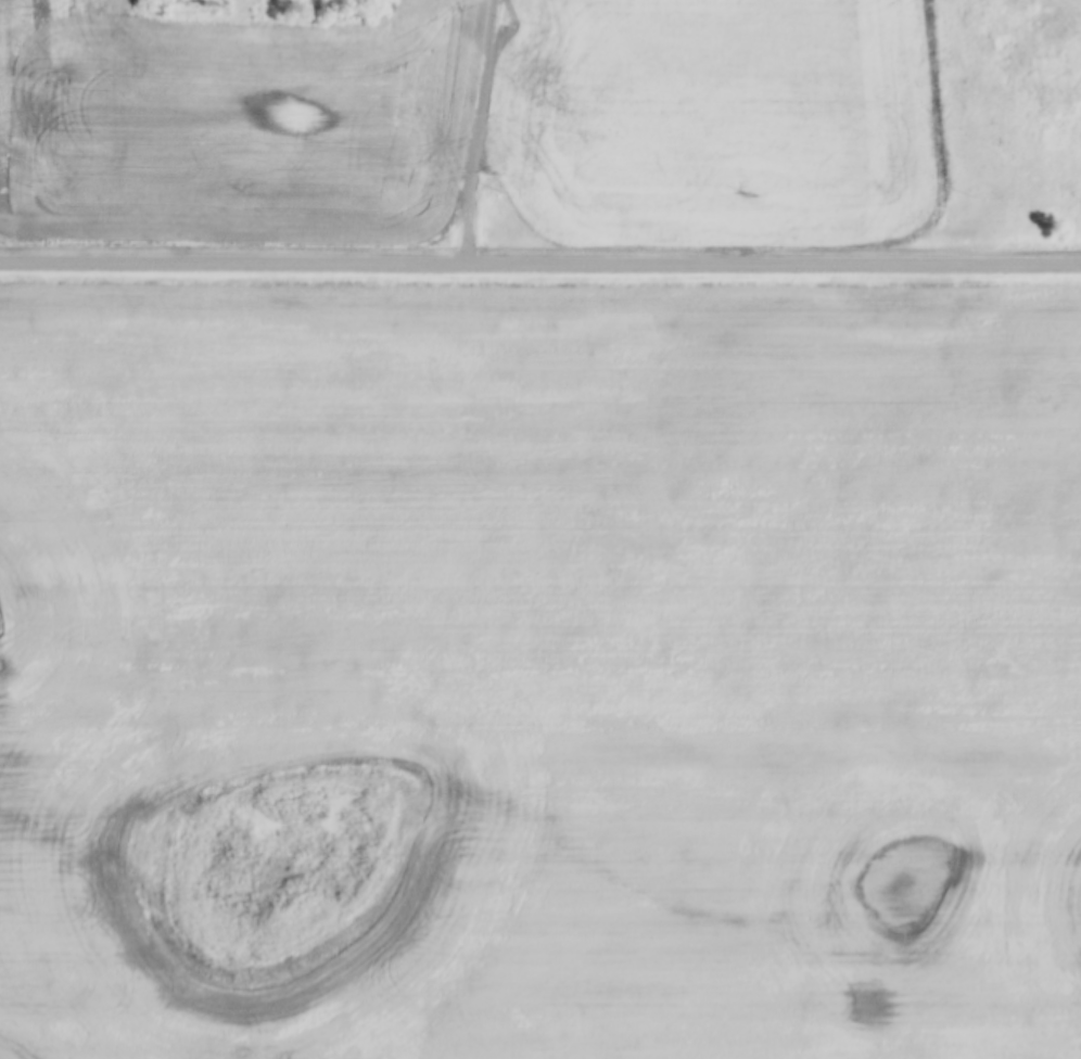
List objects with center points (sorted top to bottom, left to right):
road: (479, 130)
road: (540, 263)

